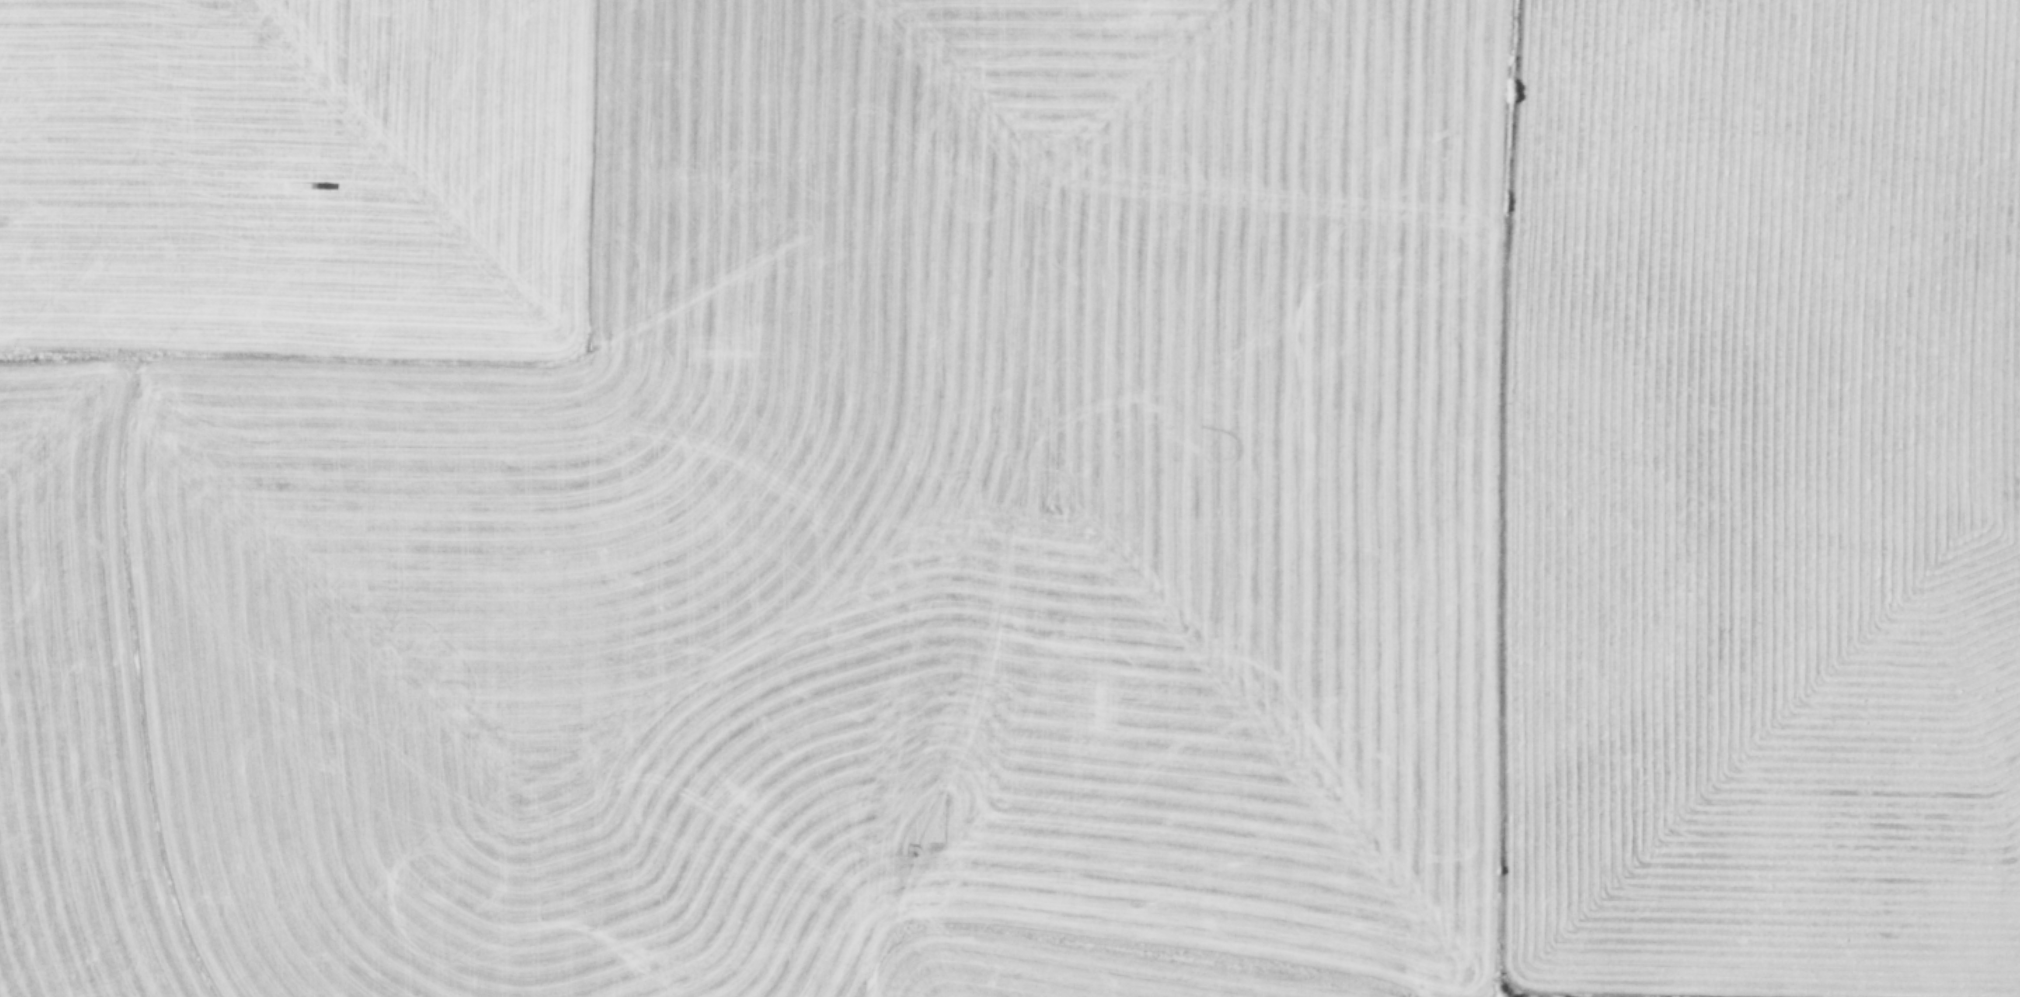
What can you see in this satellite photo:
crop: (1010, 498)

